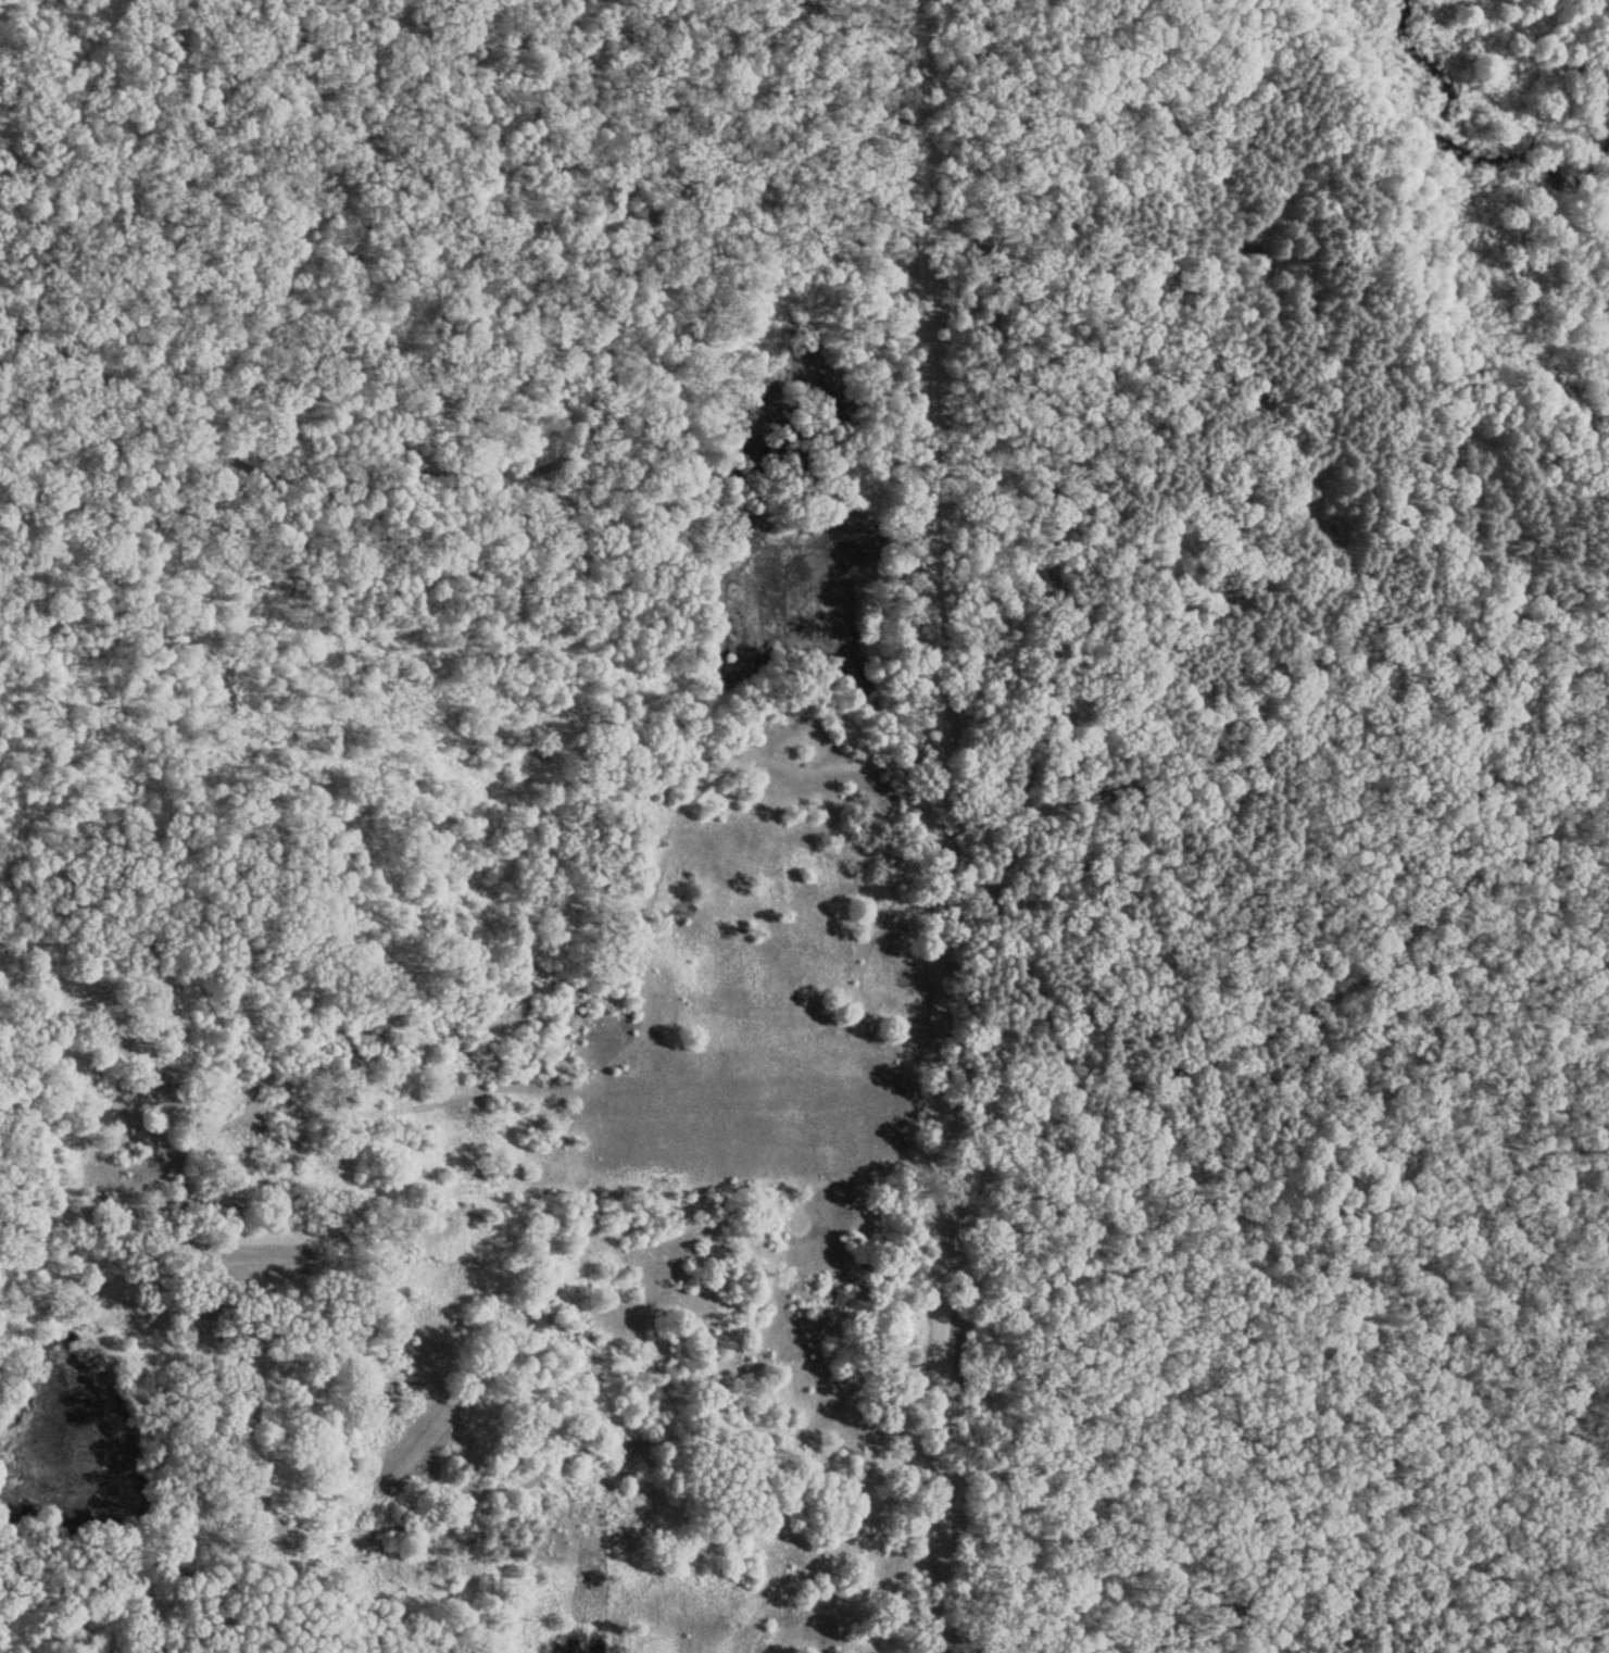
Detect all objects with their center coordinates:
road: (532, 462)
road: (1054, 517)
road: (1160, 656)
building: (791, 696)
road: (932, 826)
road: (1015, 944)
road: (1294, 1006)

